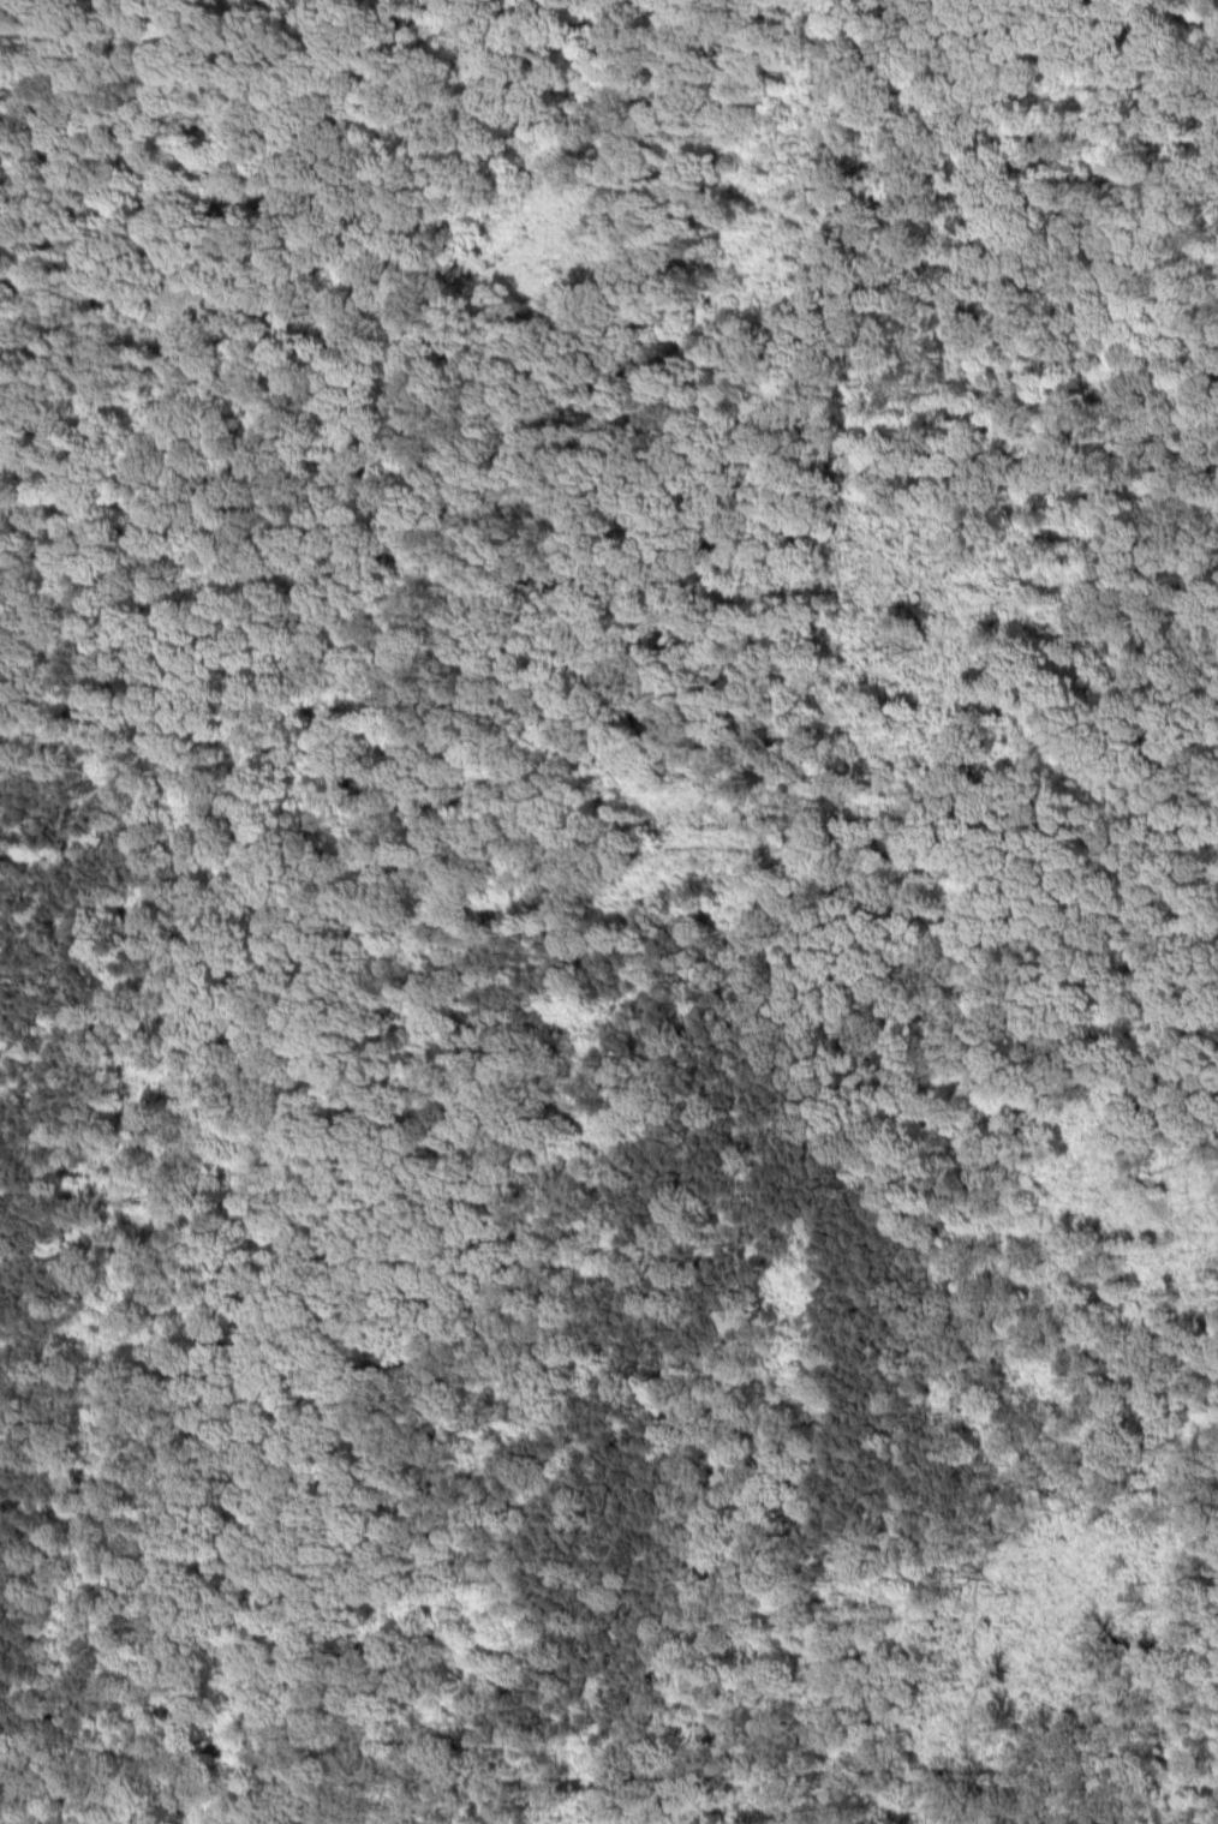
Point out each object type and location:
road: (747, 955)

